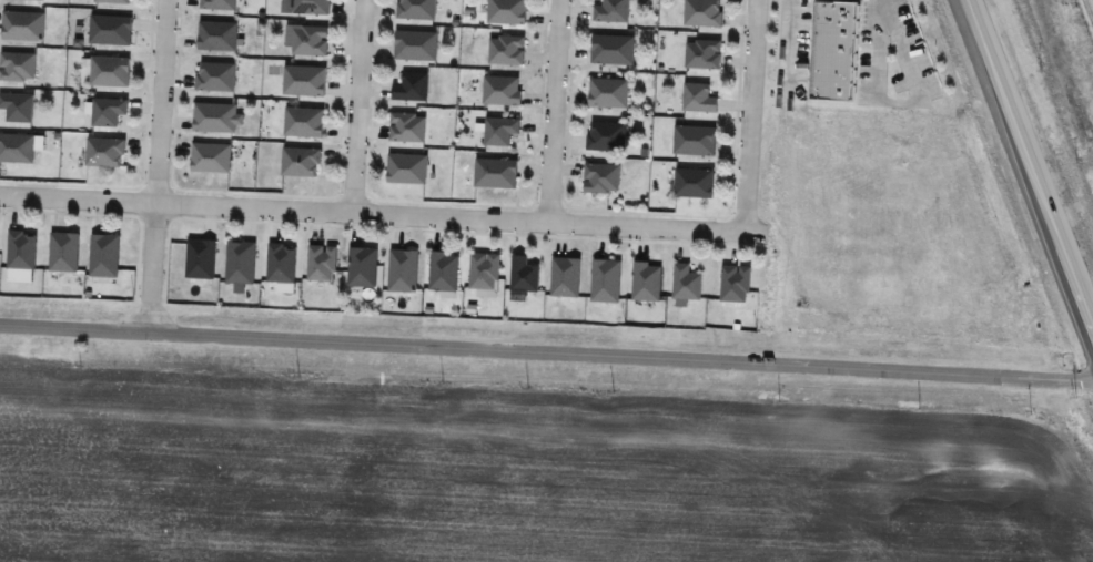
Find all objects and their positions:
building: (113, 1)
building: (217, 4)
building: (305, 7)
building: (416, 9)
building: (610, 11)
railway: (1087, 11)
building: (505, 12)
building: (701, 13)
building: (22, 25)
building: (110, 30)
building: (216, 35)
building: (306, 39)
building: (415, 45)
road: (787, 48)
building: (611, 49)
building: (505, 50)
building: (831, 50)
building: (702, 54)
building: (17, 65)
building: (109, 71)
building: (214, 76)
building: (303, 81)
building: (411, 86)
building: (502, 91)
building: (607, 93)
building: (698, 99)
road: (900, 102)
road: (357, 105)
building: (17, 106)
road: (550, 110)
building: (107, 111)
road: (750, 115)
building: (214, 117)
building: (303, 121)
building: (406, 126)
building: (499, 130)
building: (605, 136)
building: (694, 140)
building: (17, 147)
building: (104, 152)
building: (210, 157)
building: (300, 162)
road: (1031, 162)
road: (155, 165)
building: (406, 168)
building: (495, 173)
building: (601, 178)
building: (694, 183)
road: (372, 211)
building: (21, 251)
building: (63, 252)
building: (103, 255)
building: (200, 258)
building: (240, 263)
building: (280, 263)
building: (321, 264)
building: (362, 270)
building: (402, 270)
building: (443, 270)
building: (483, 270)
building: (523, 274)
building: (565, 277)
building: (605, 280)
building: (646, 282)
building: (685, 284)
building: (735, 284)
road: (546, 351)

